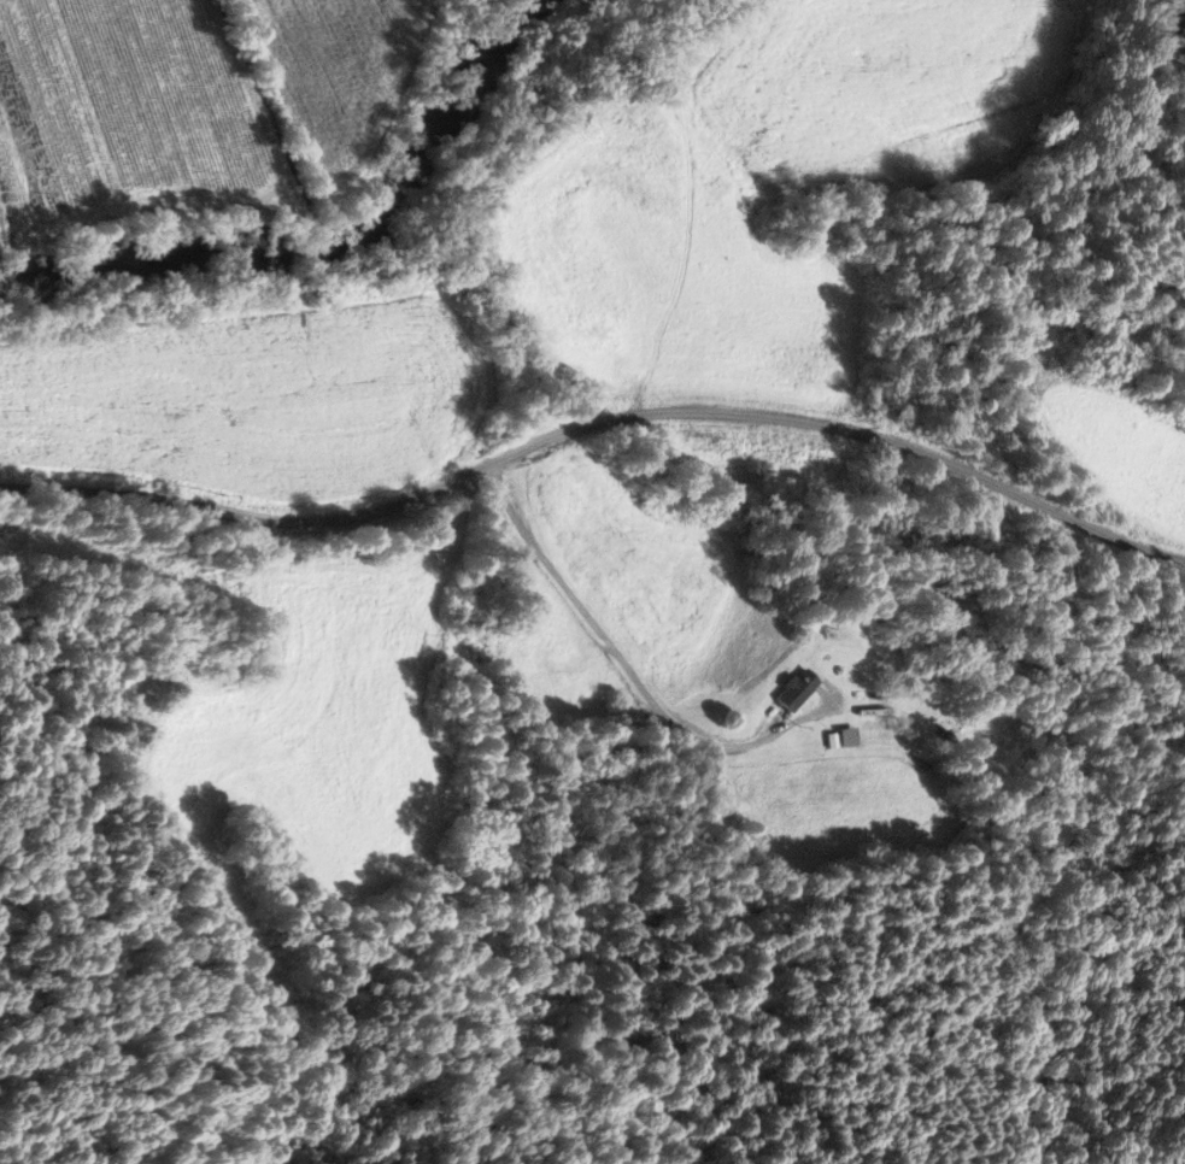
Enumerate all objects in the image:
river: (323, 251)
road: (594, 423)
road: (611, 662)
building: (791, 690)
building: (843, 737)

